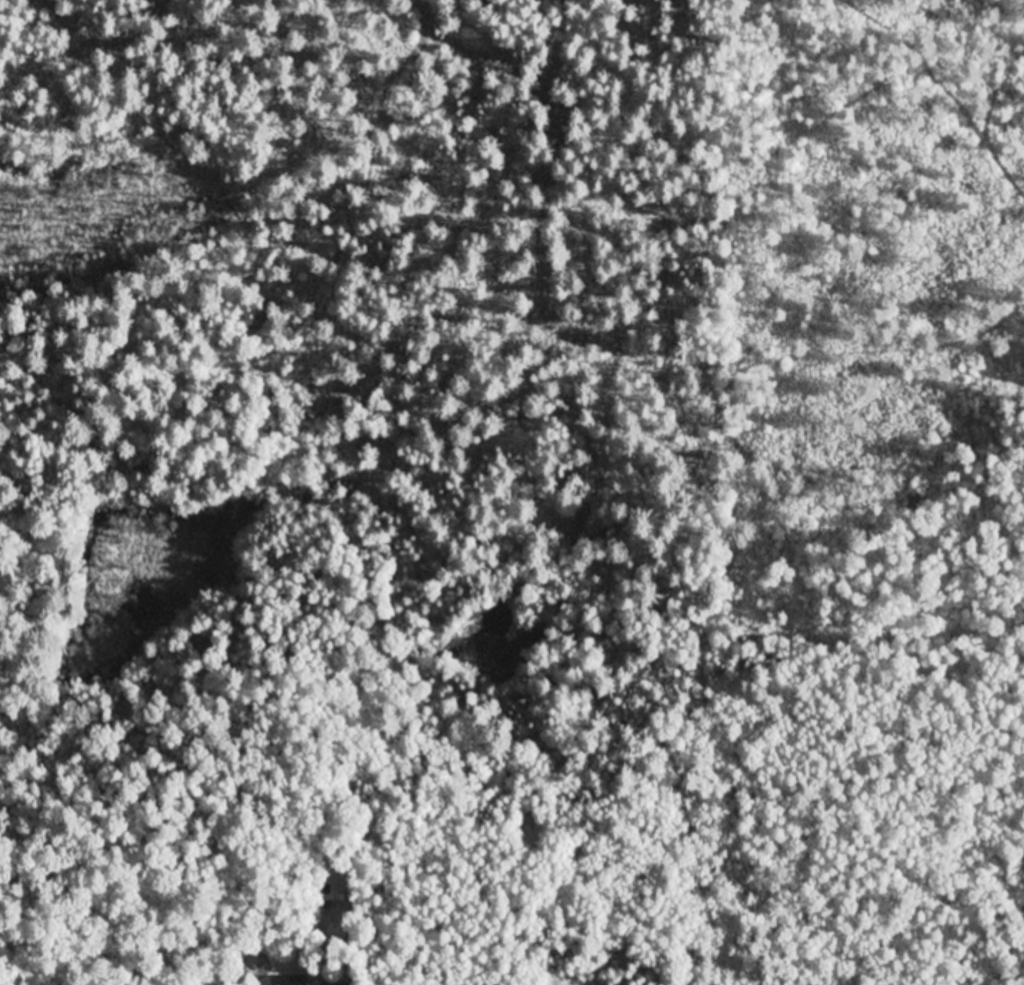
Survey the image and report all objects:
building: (291, 980)

